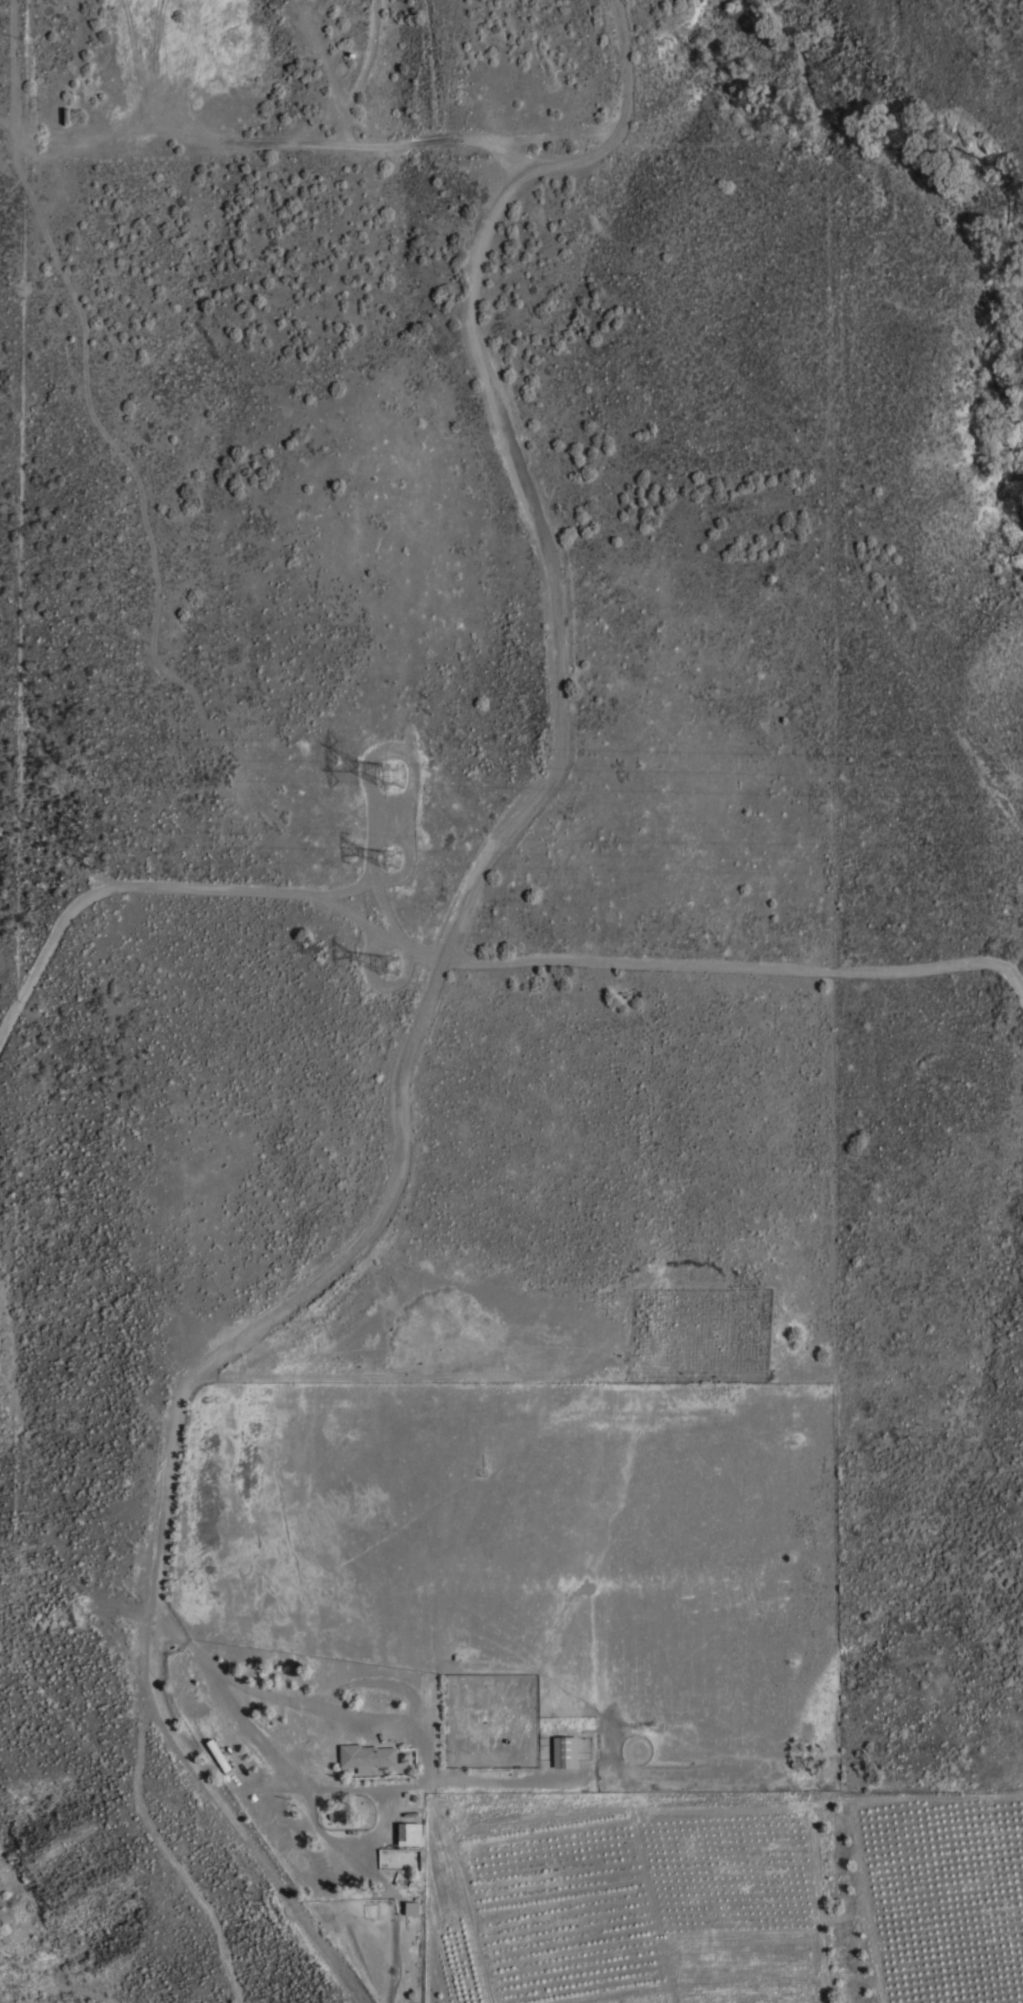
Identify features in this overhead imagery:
power tower: (392, 776)
power tower: (388, 863)
road: (465, 961)
power tower: (387, 964)
road: (417, 1014)
road: (252, 1689)
building: (565, 1753)
building: (366, 1758)
building: (410, 1835)
crop: (725, 1901)
building: (412, 1910)

